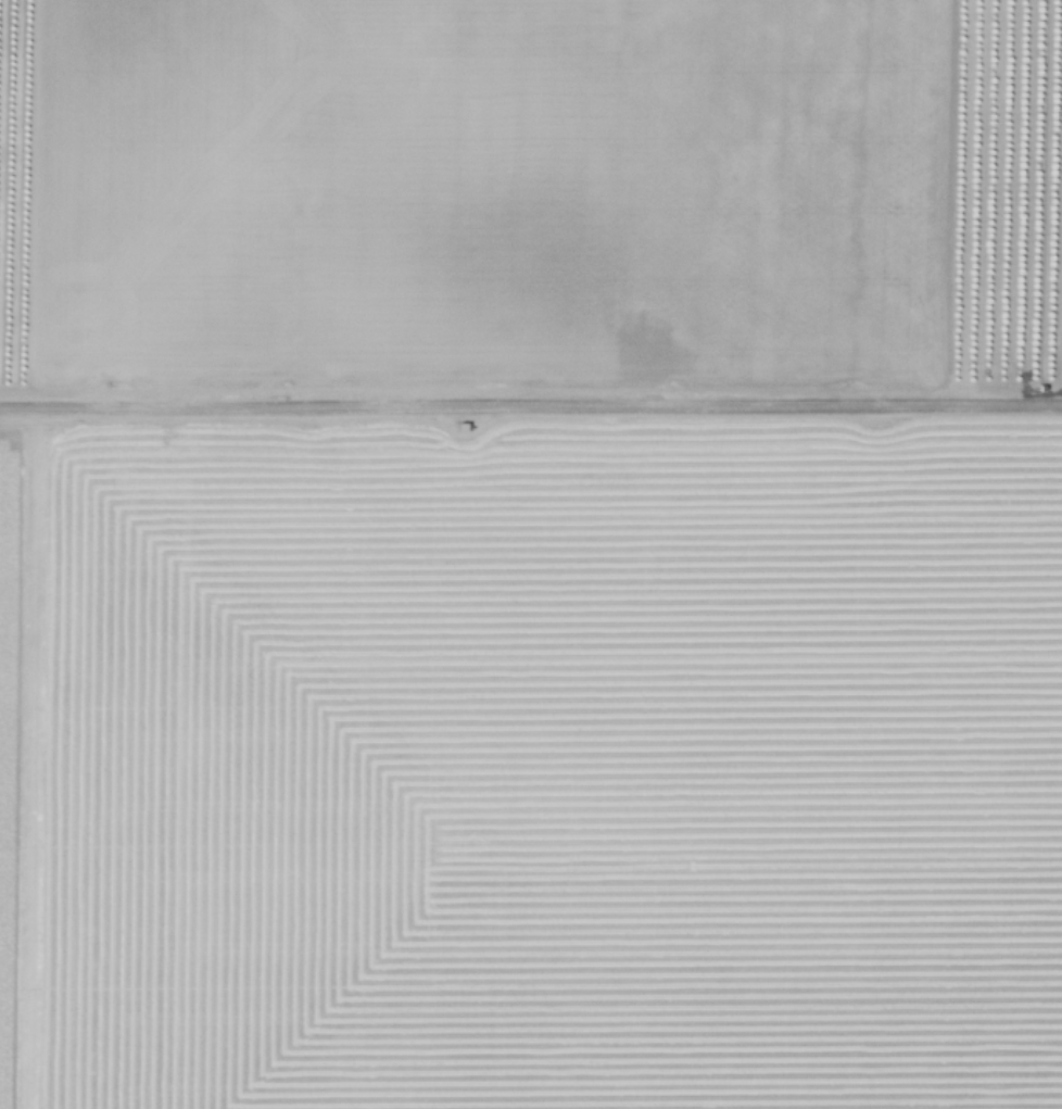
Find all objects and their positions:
crop: (531, 554)

